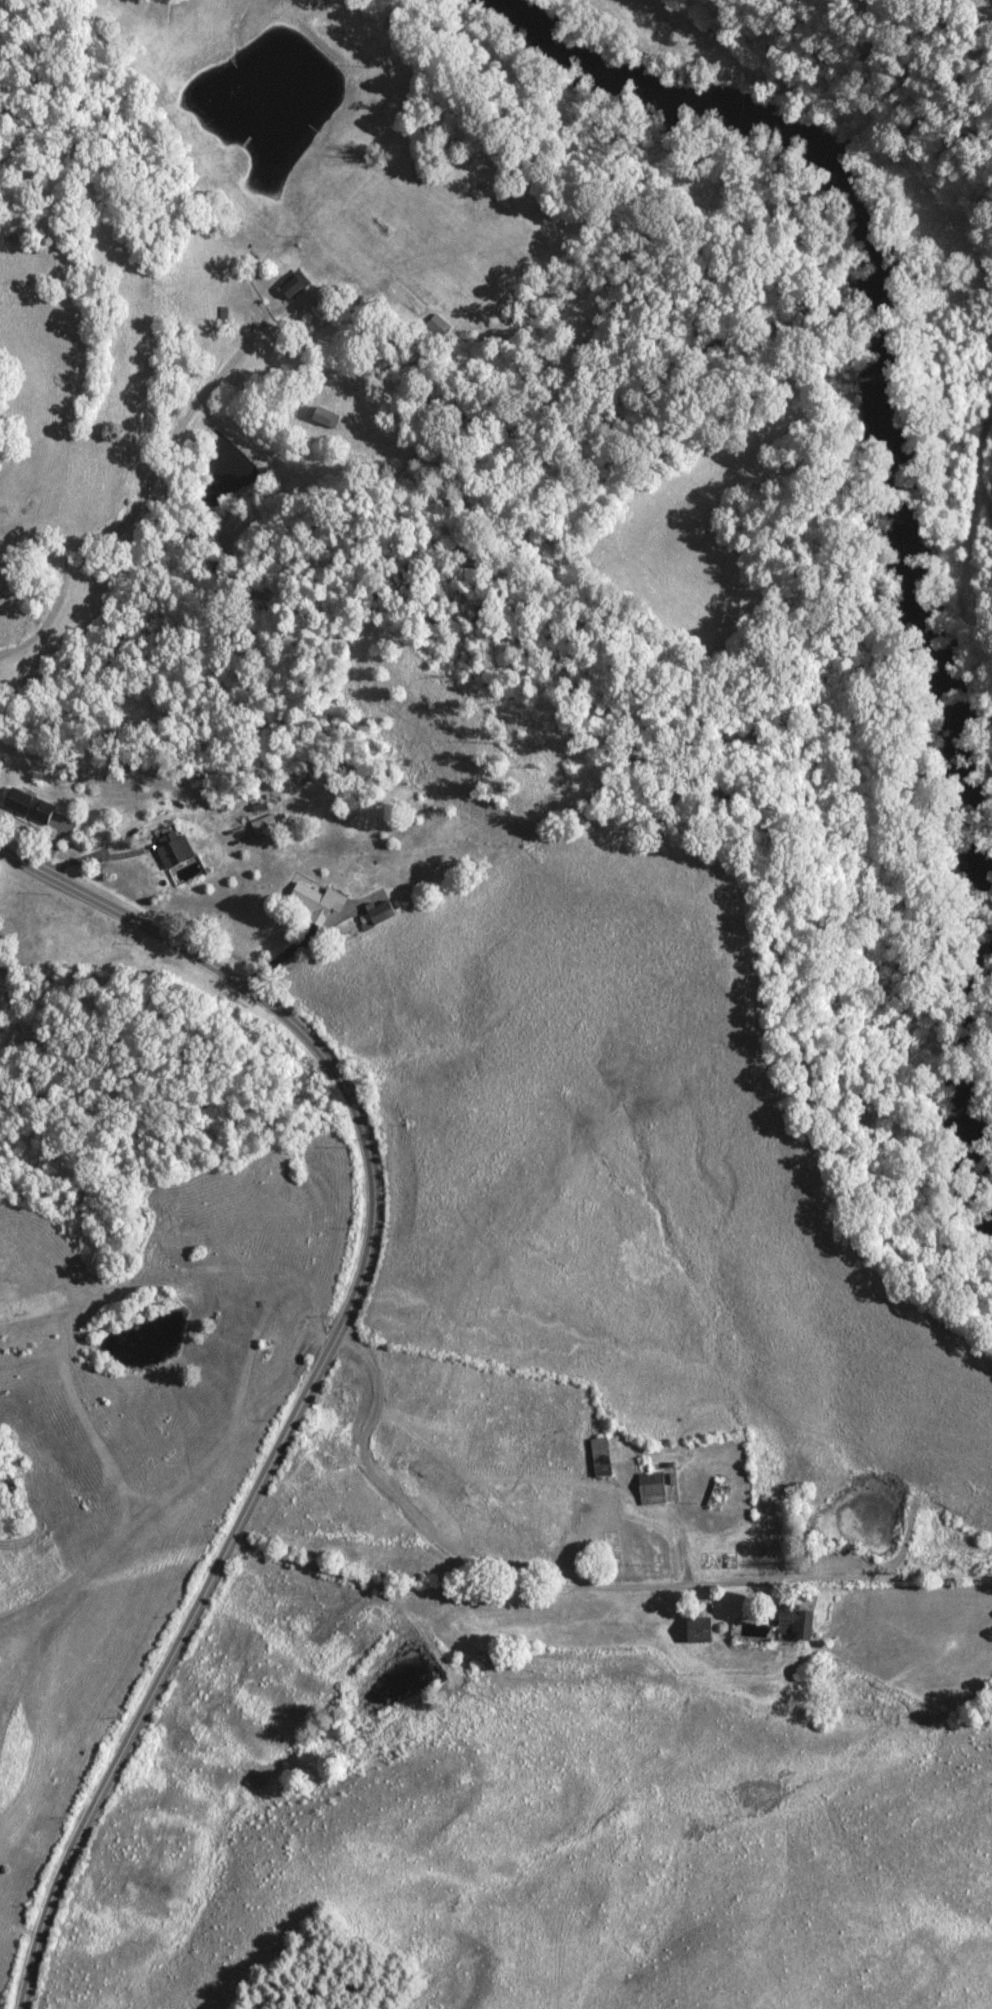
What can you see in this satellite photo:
road: (140, 500)
building: (263, 825)
road: (100, 906)
building: (599, 1458)
road: (269, 1464)
building: (650, 1489)
building: (715, 1496)
road: (406, 1510)
road: (888, 1578)
road: (504, 1589)
building: (793, 1627)
building: (695, 1631)
road: (19, 1926)

